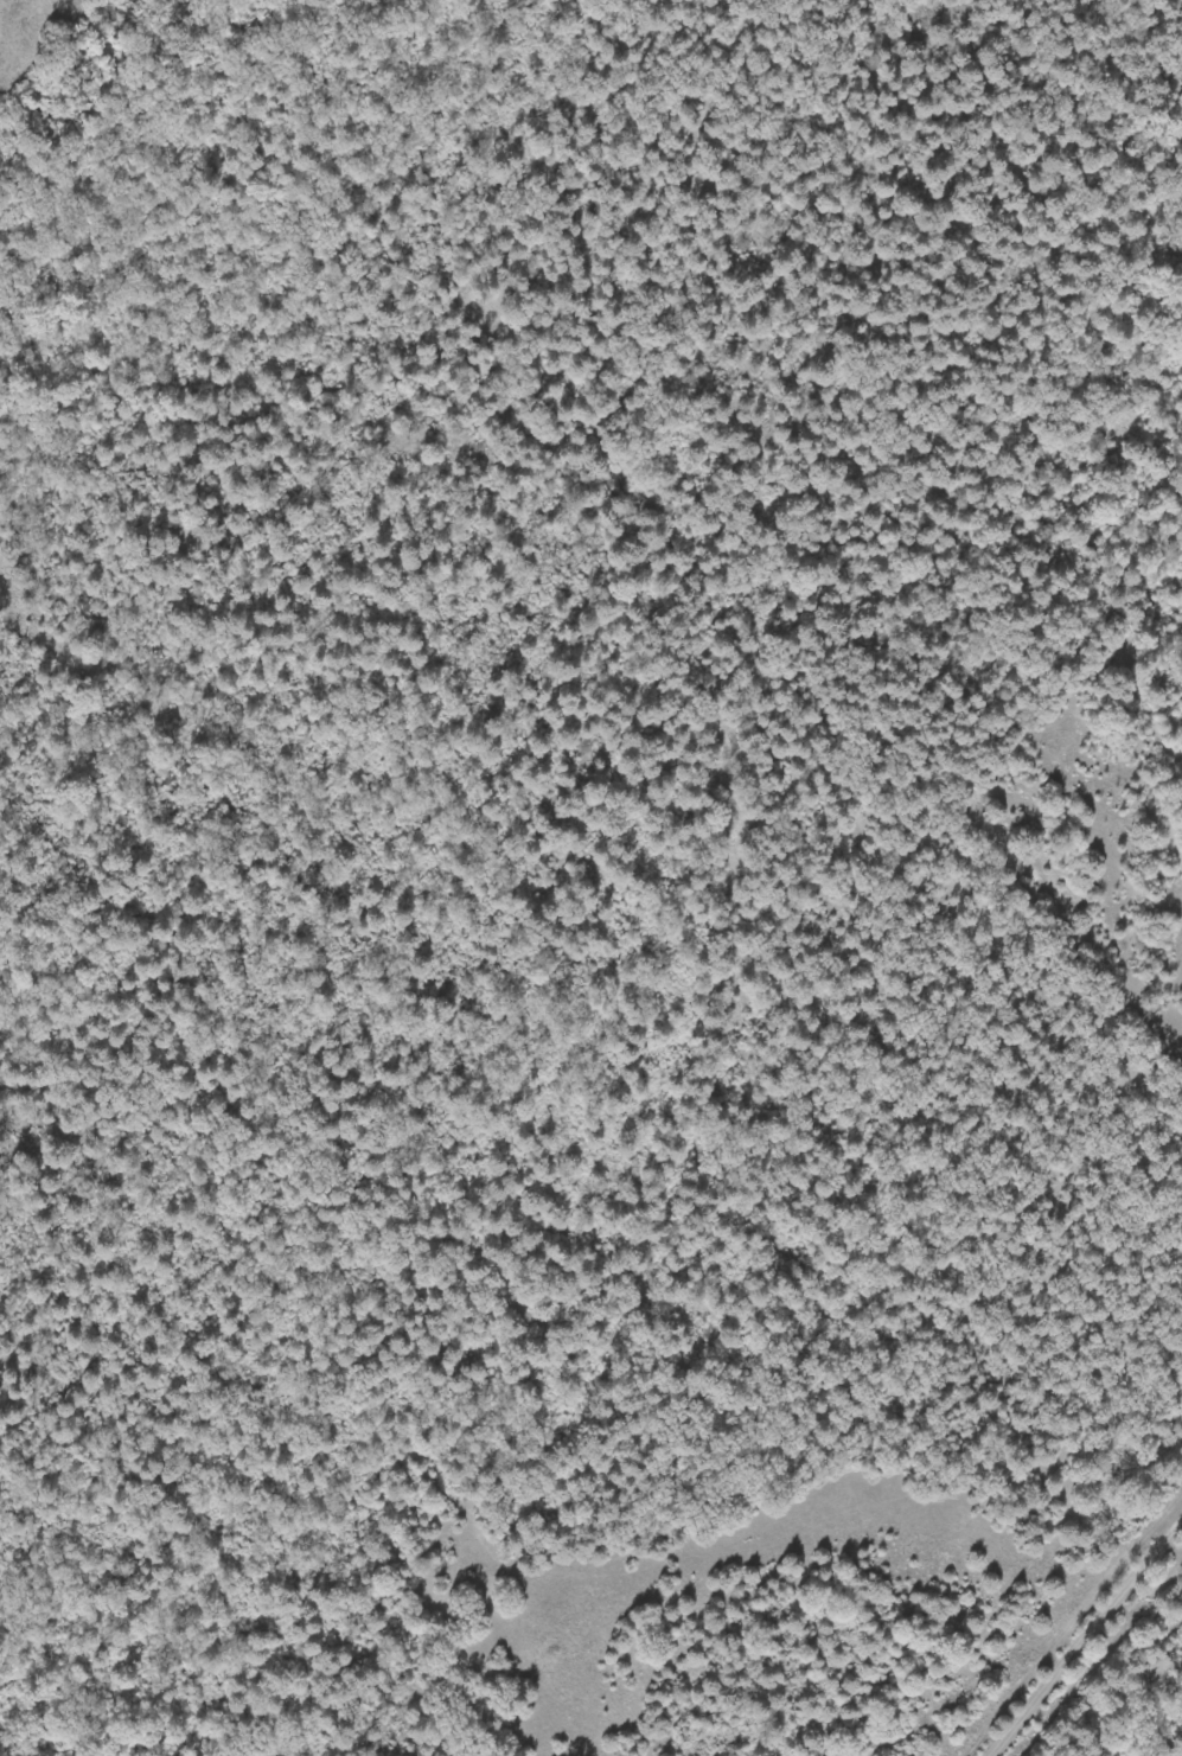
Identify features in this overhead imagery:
road: (1181, 1513)

